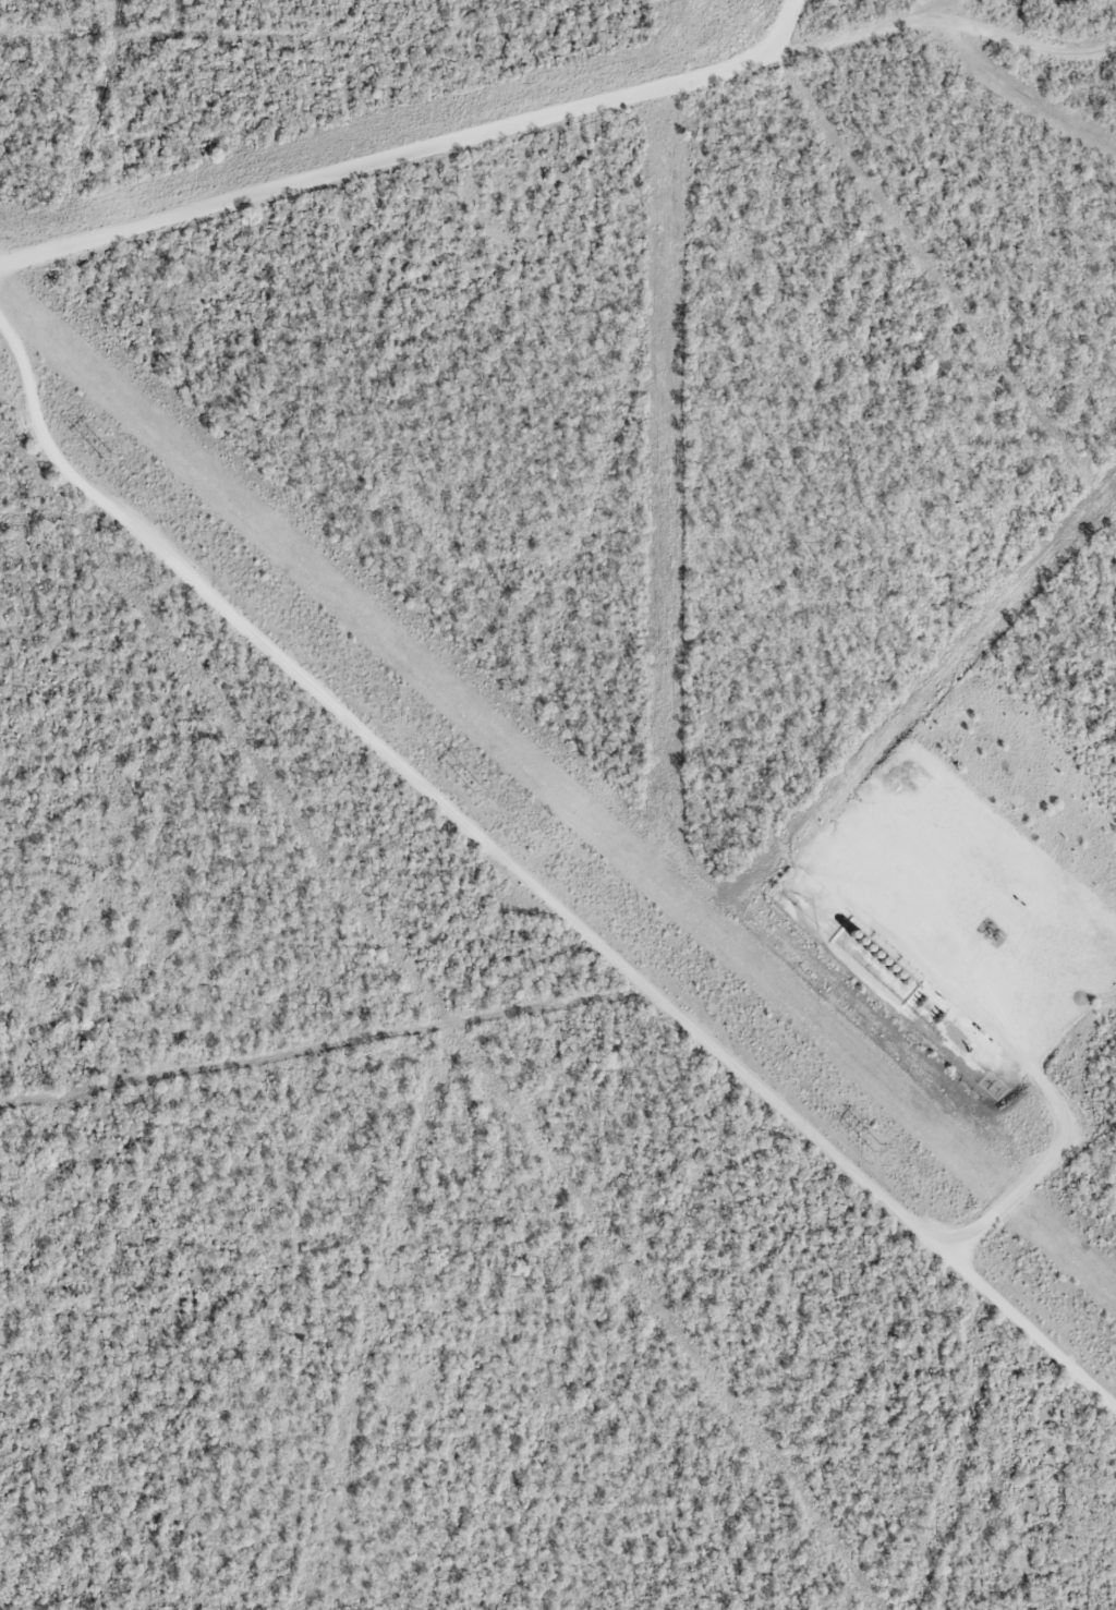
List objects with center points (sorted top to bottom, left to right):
road: (445, 128)
power tower: (110, 456)
power tower: (478, 786)
power tower: (876, 1146)

